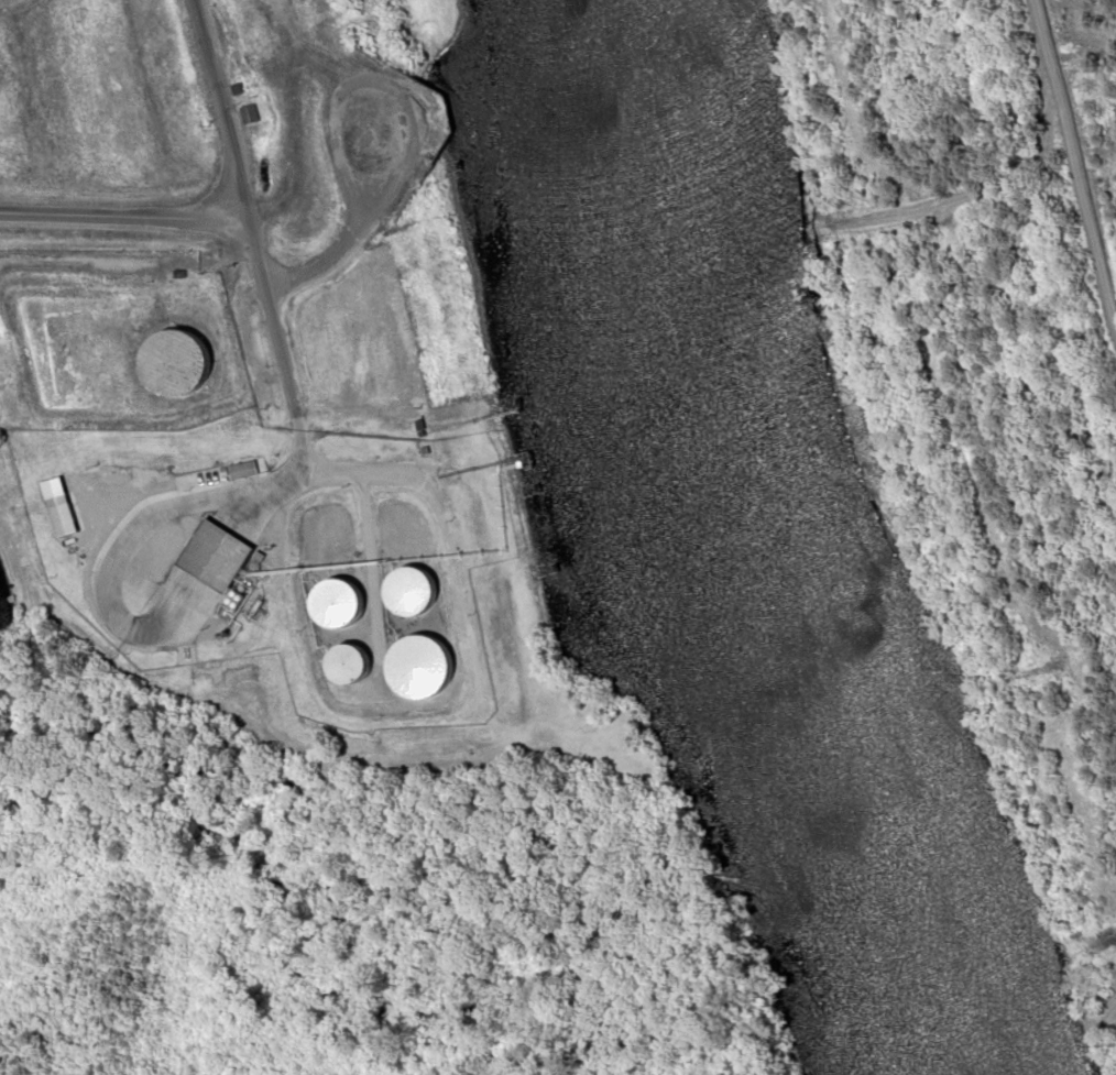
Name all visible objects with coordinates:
building: (245, 113)
road: (240, 201)
road: (122, 213)
building: (169, 363)
building: (240, 469)
building: (210, 556)
building: (406, 592)
building: (332, 602)
building: (343, 663)
building: (415, 667)

